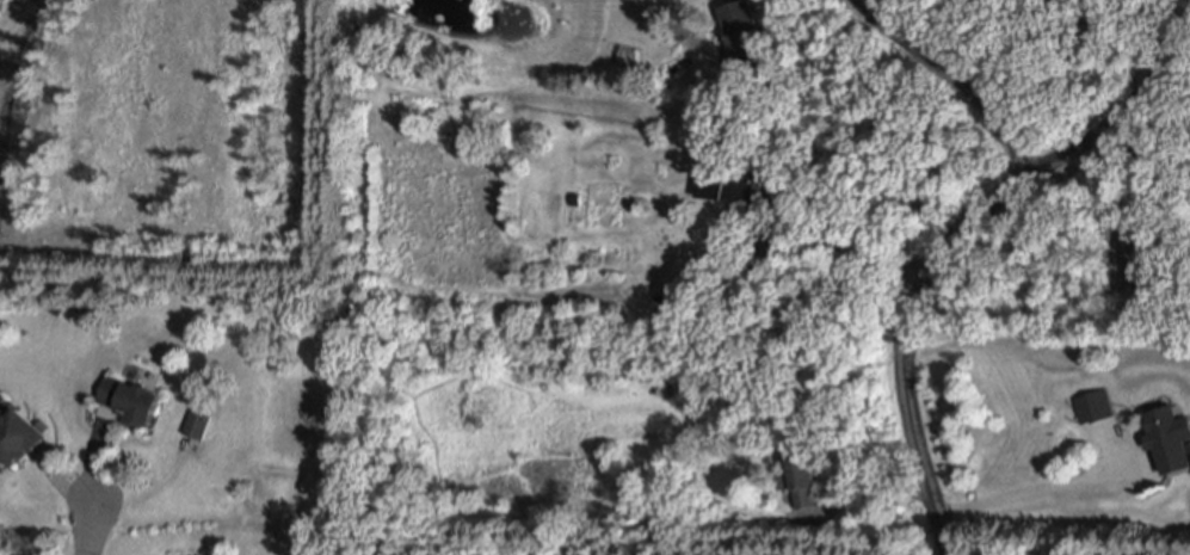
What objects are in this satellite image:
building: (741, 35)
road: (957, 78)
road: (1124, 111)
quarry: (167, 147)
road: (1141, 153)
building: (747, 190)
road: (847, 243)
road: (904, 339)
building: (130, 399)
building: (1093, 406)
building: (198, 423)
building: (17, 436)
building: (1167, 442)
building: (732, 443)
building: (800, 475)
road: (1041, 492)
road: (874, 499)
road: (87, 529)

